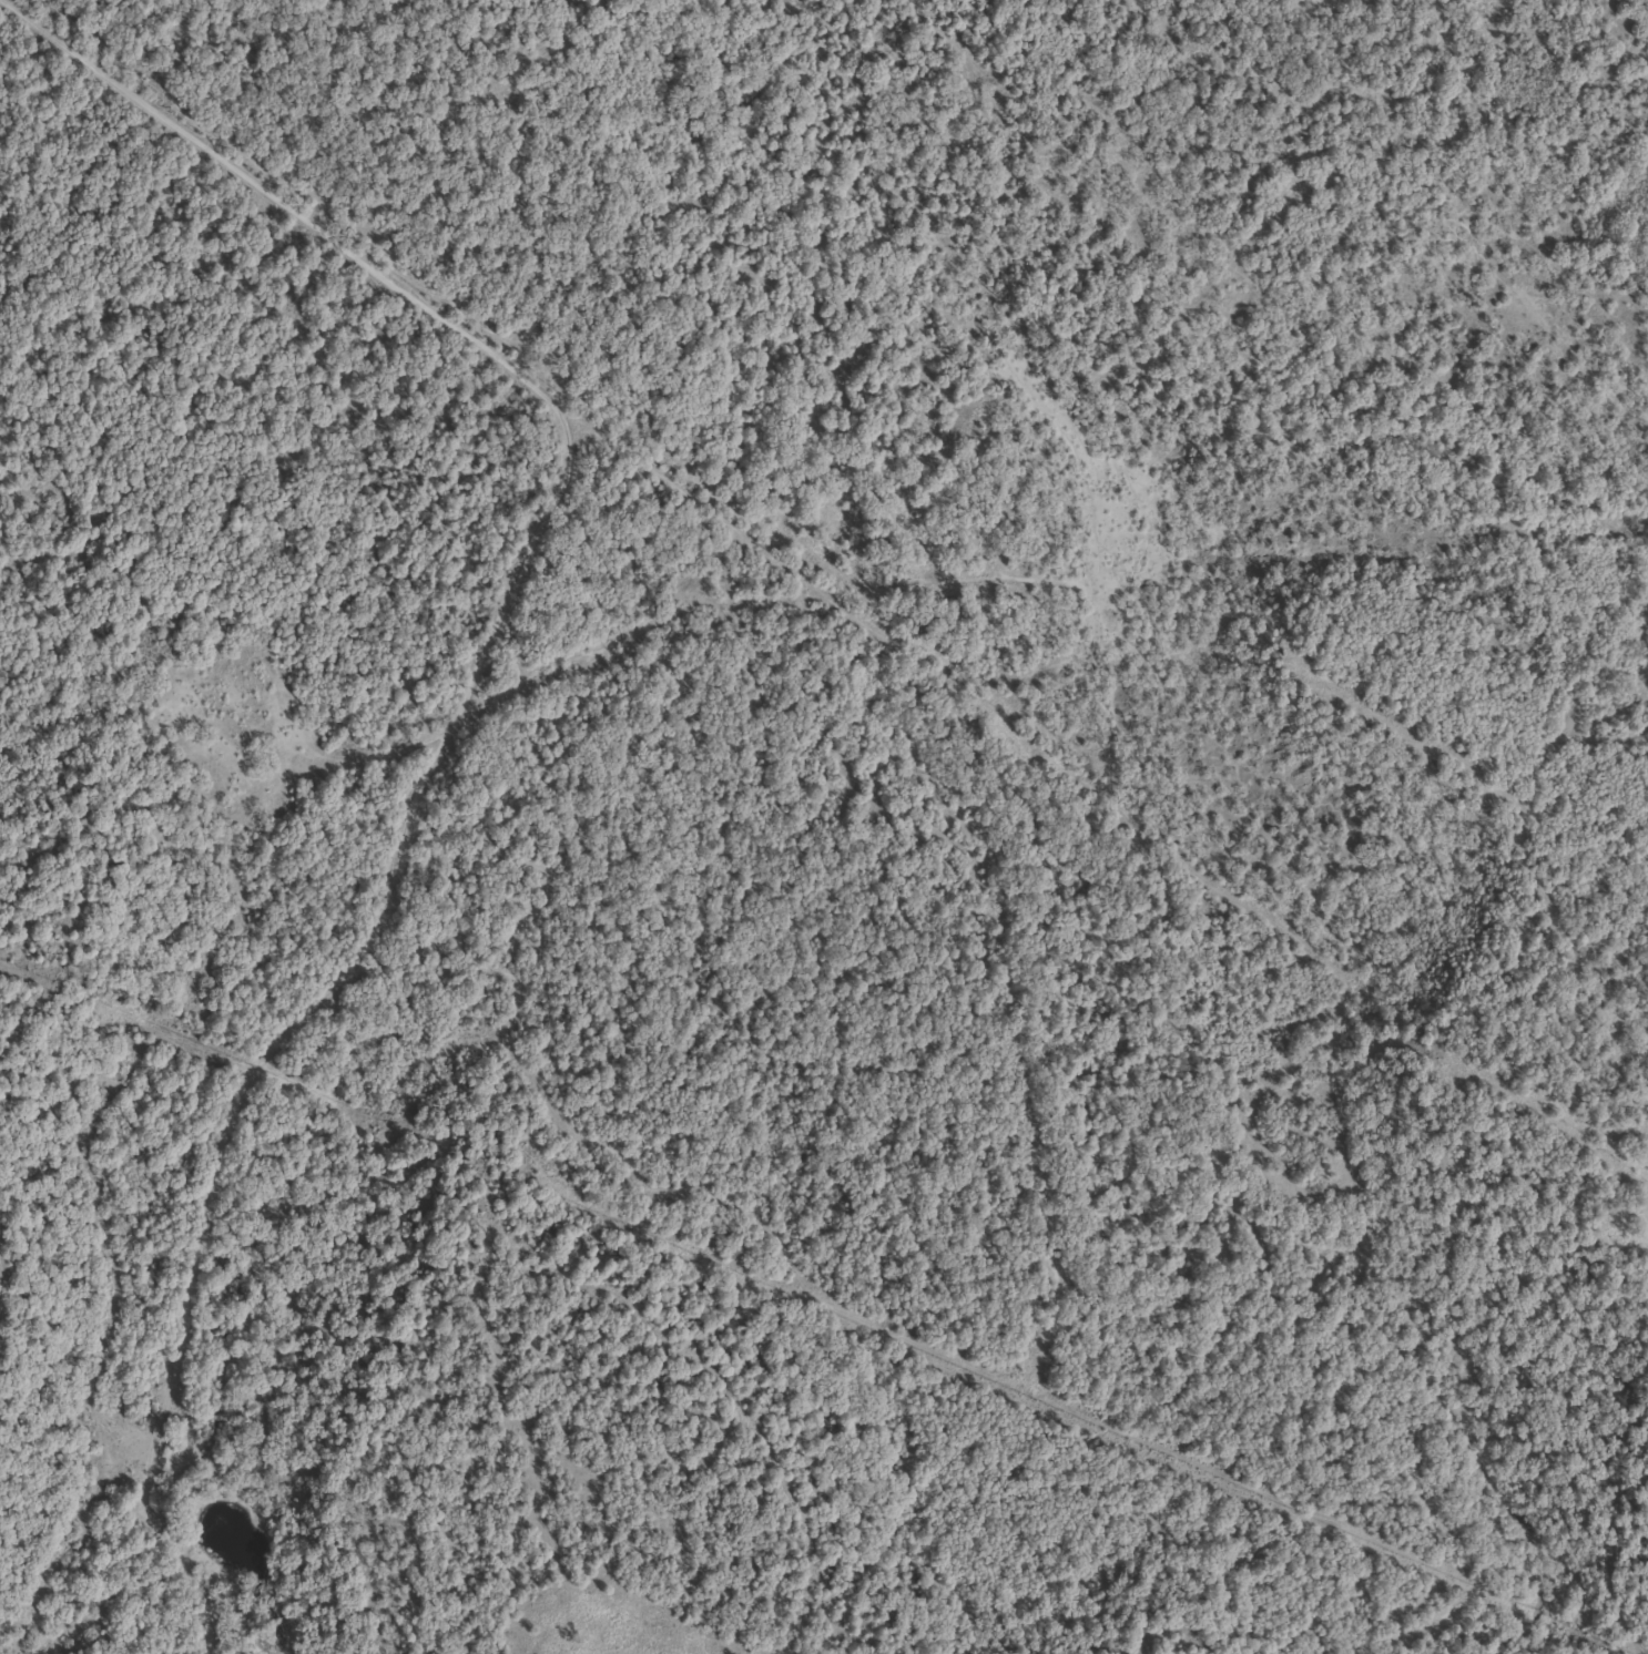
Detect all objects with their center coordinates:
road: (497, 644)
road: (396, 756)

